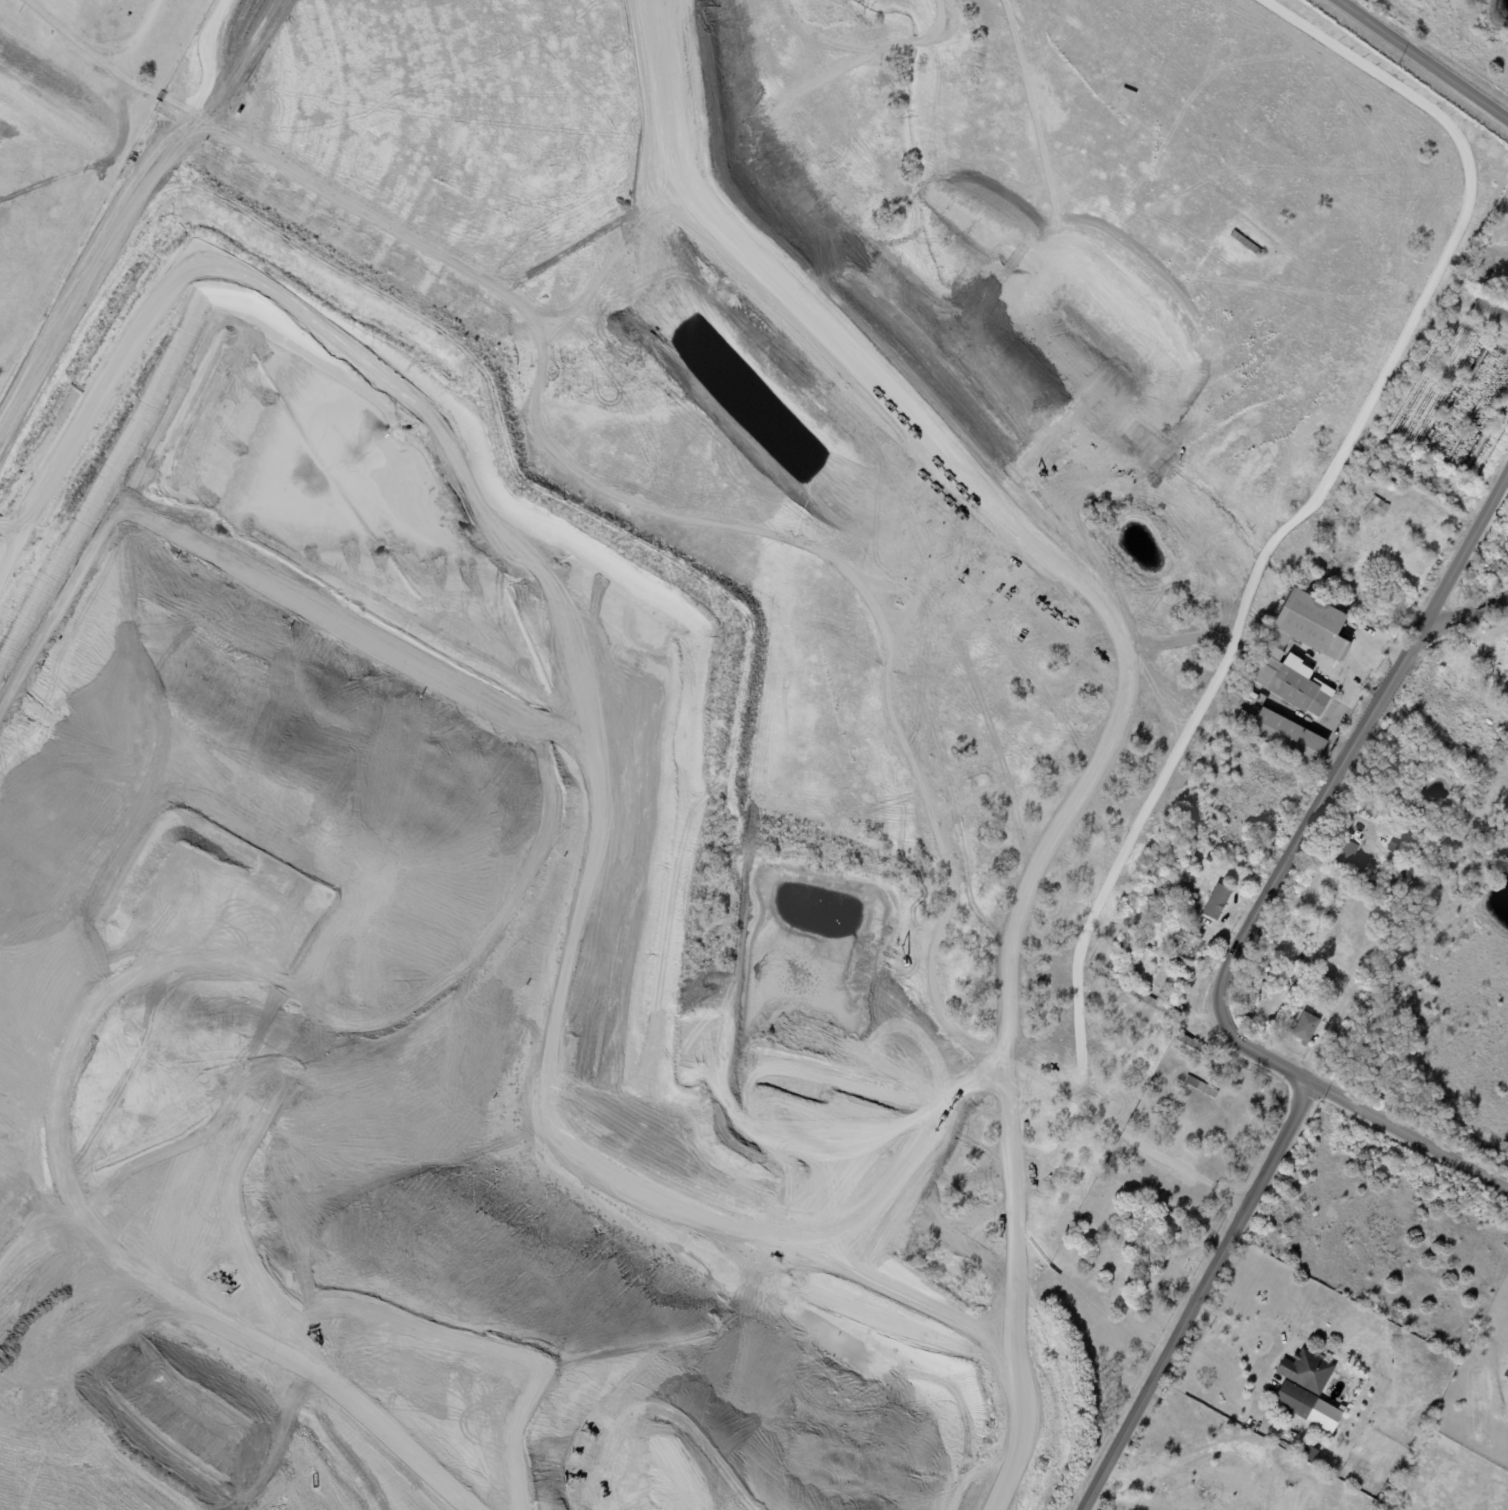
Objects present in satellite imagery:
road: (132, 35)
road: (1425, 59)
building: (129, 167)
building: (1247, 243)
building: (1491, 309)
building: (1392, 451)
building: (1440, 468)
building: (1439, 485)
building: (1380, 506)
road: (739, 528)
building: (261, 566)
road: (1468, 602)
building: (1315, 625)
building: (1507, 643)
road: (1349, 679)
building: (1292, 680)
building: (1241, 717)
building: (1291, 737)
building: (1362, 808)
building: (1374, 814)
building: (1446, 836)
building: (1395, 848)
building: (1351, 855)
building: (1209, 857)
building: (1432, 861)
building: (1190, 863)
building: (1366, 886)
building: (1411, 889)
building: (1375, 890)
road: (1265, 892)
building: (1217, 902)
building: (1404, 904)
building: (1186, 946)
building: (1099, 971)
building: (1114, 980)
building: (1298, 980)
building: (1178, 984)
building: (1257, 987)
building: (1146, 998)
building: (1249, 1011)
building: (1308, 1028)
building: (1192, 1048)
building: (1202, 1087)
park: (1132, 1248)
road: (1198, 1296)
building: (1309, 1370)
landfill: (225, 1379)
building: (1298, 1399)
building: (1309, 1451)
building: (1322, 1462)
building: (1385, 1494)
building: (1389, 1508)
landfill: (754, 1509)

